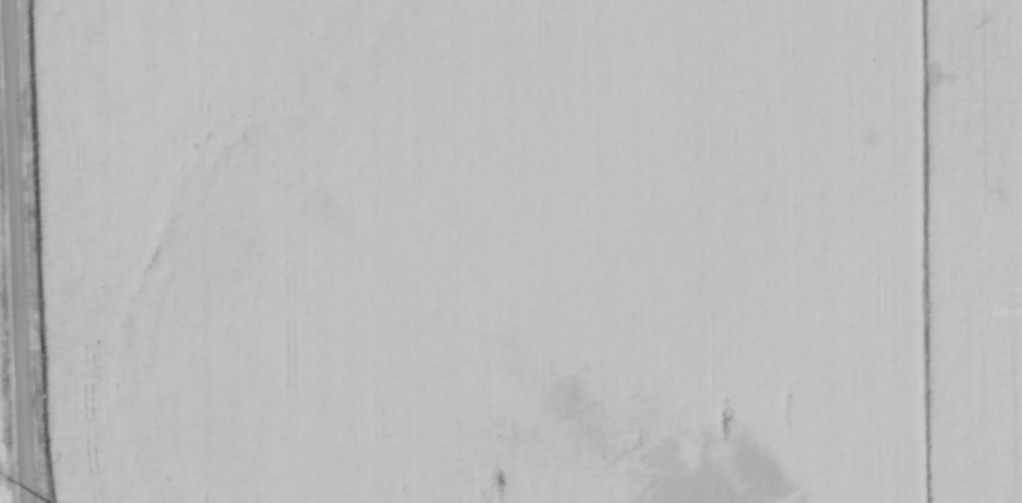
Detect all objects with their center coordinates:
road: (24, 251)
power tower: (51, 502)

